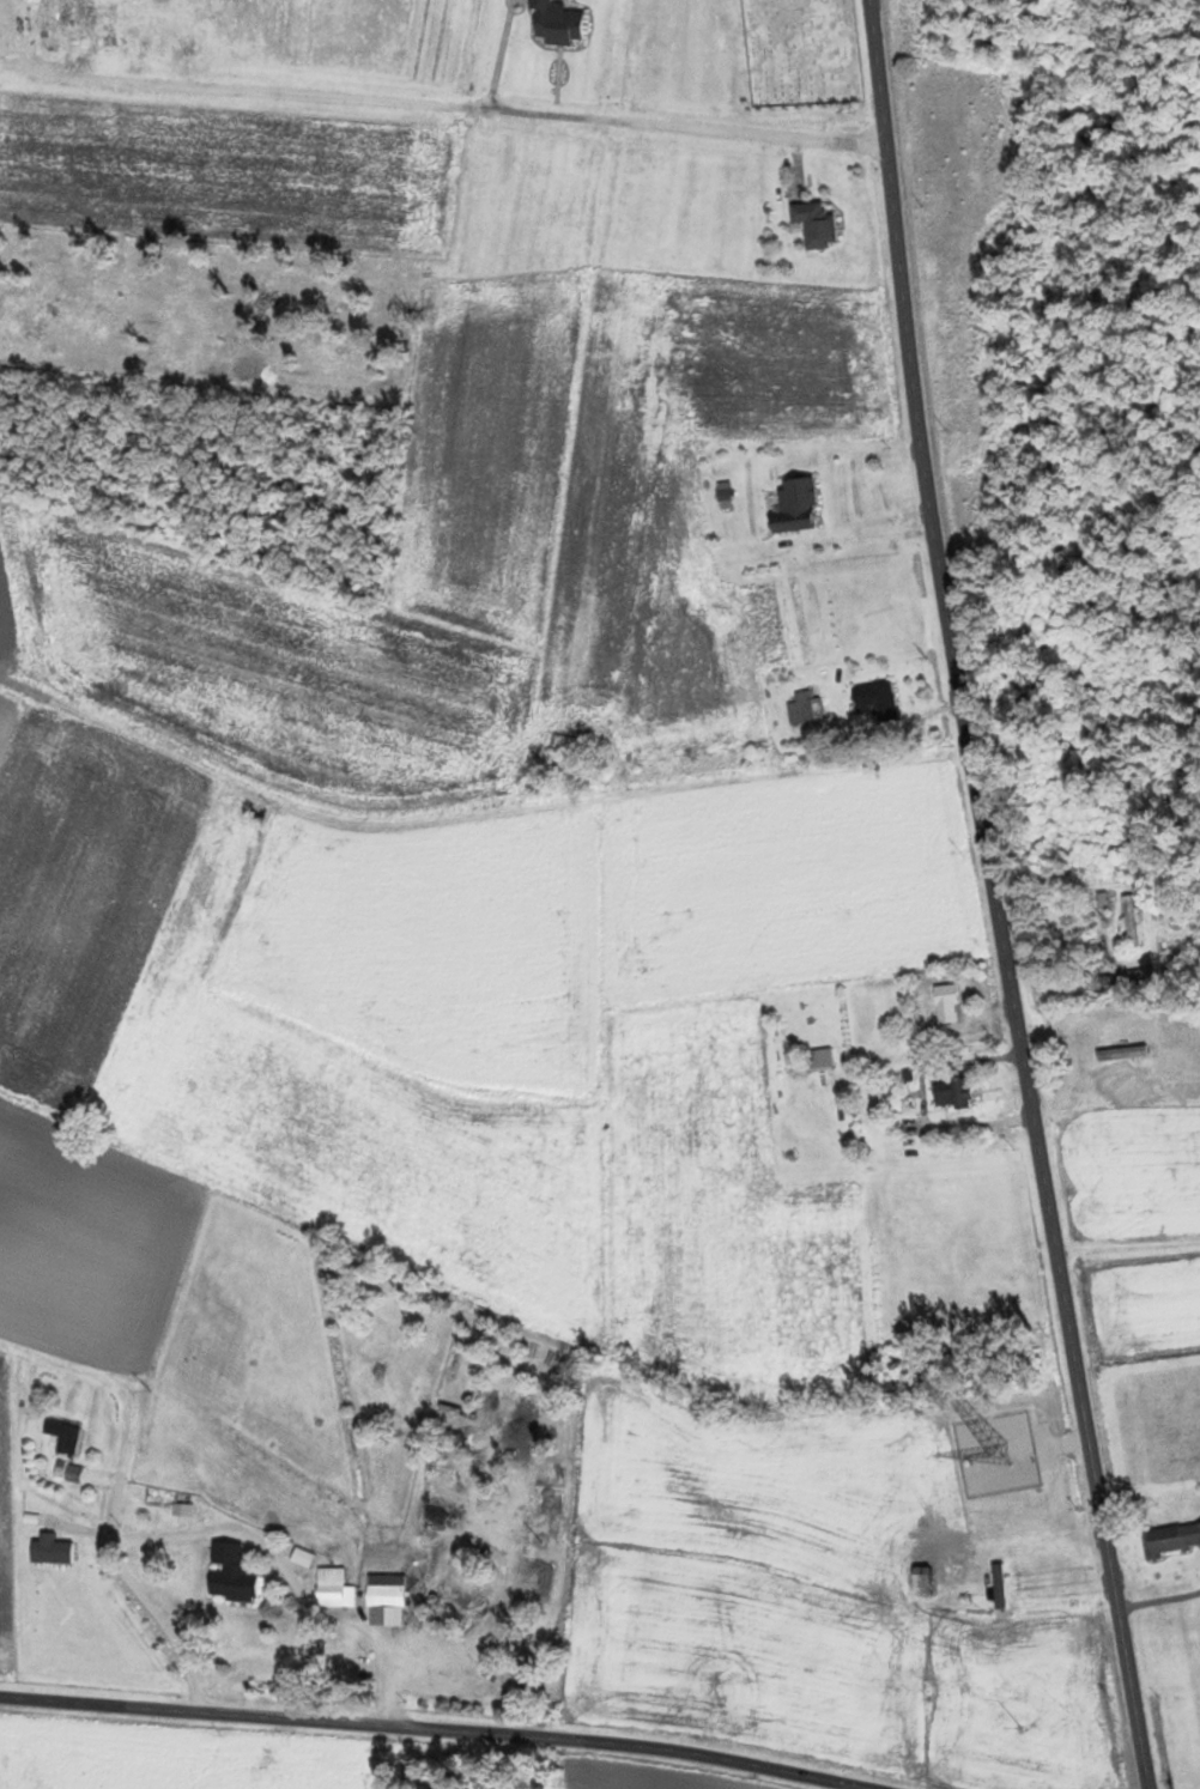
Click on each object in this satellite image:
building: (1014, 0)
building: (969, 35)
building: (1038, 36)
park: (801, 51)
building: (813, 224)
building: (794, 505)
building: (872, 699)
building: (801, 709)
road: (423, 794)
road: (995, 896)
building: (1129, 920)
building: (1120, 977)
building: (947, 1002)
building: (819, 1059)
building: (951, 1092)
road: (1128, 1235)
building: (60, 1435)
building: (71, 1473)
building: (141, 1516)
building: (1172, 1538)
building: (231, 1582)
building: (333, 1588)
building: (922, 1589)
building: (384, 1596)
road: (442, 1728)

